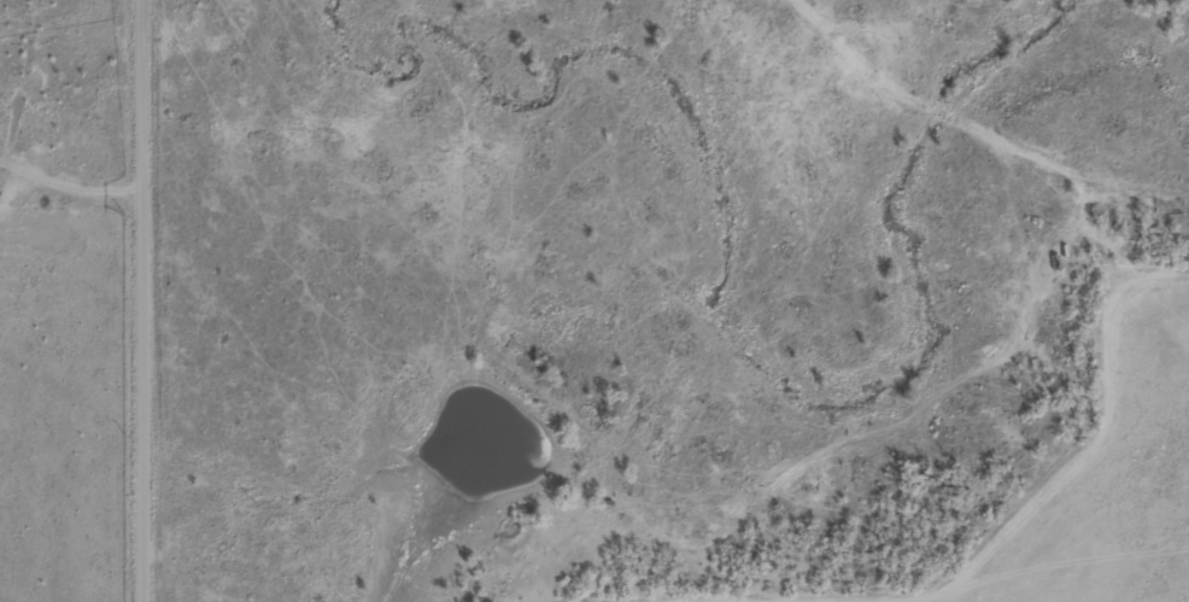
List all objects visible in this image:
road: (58, 228)
road: (116, 300)

